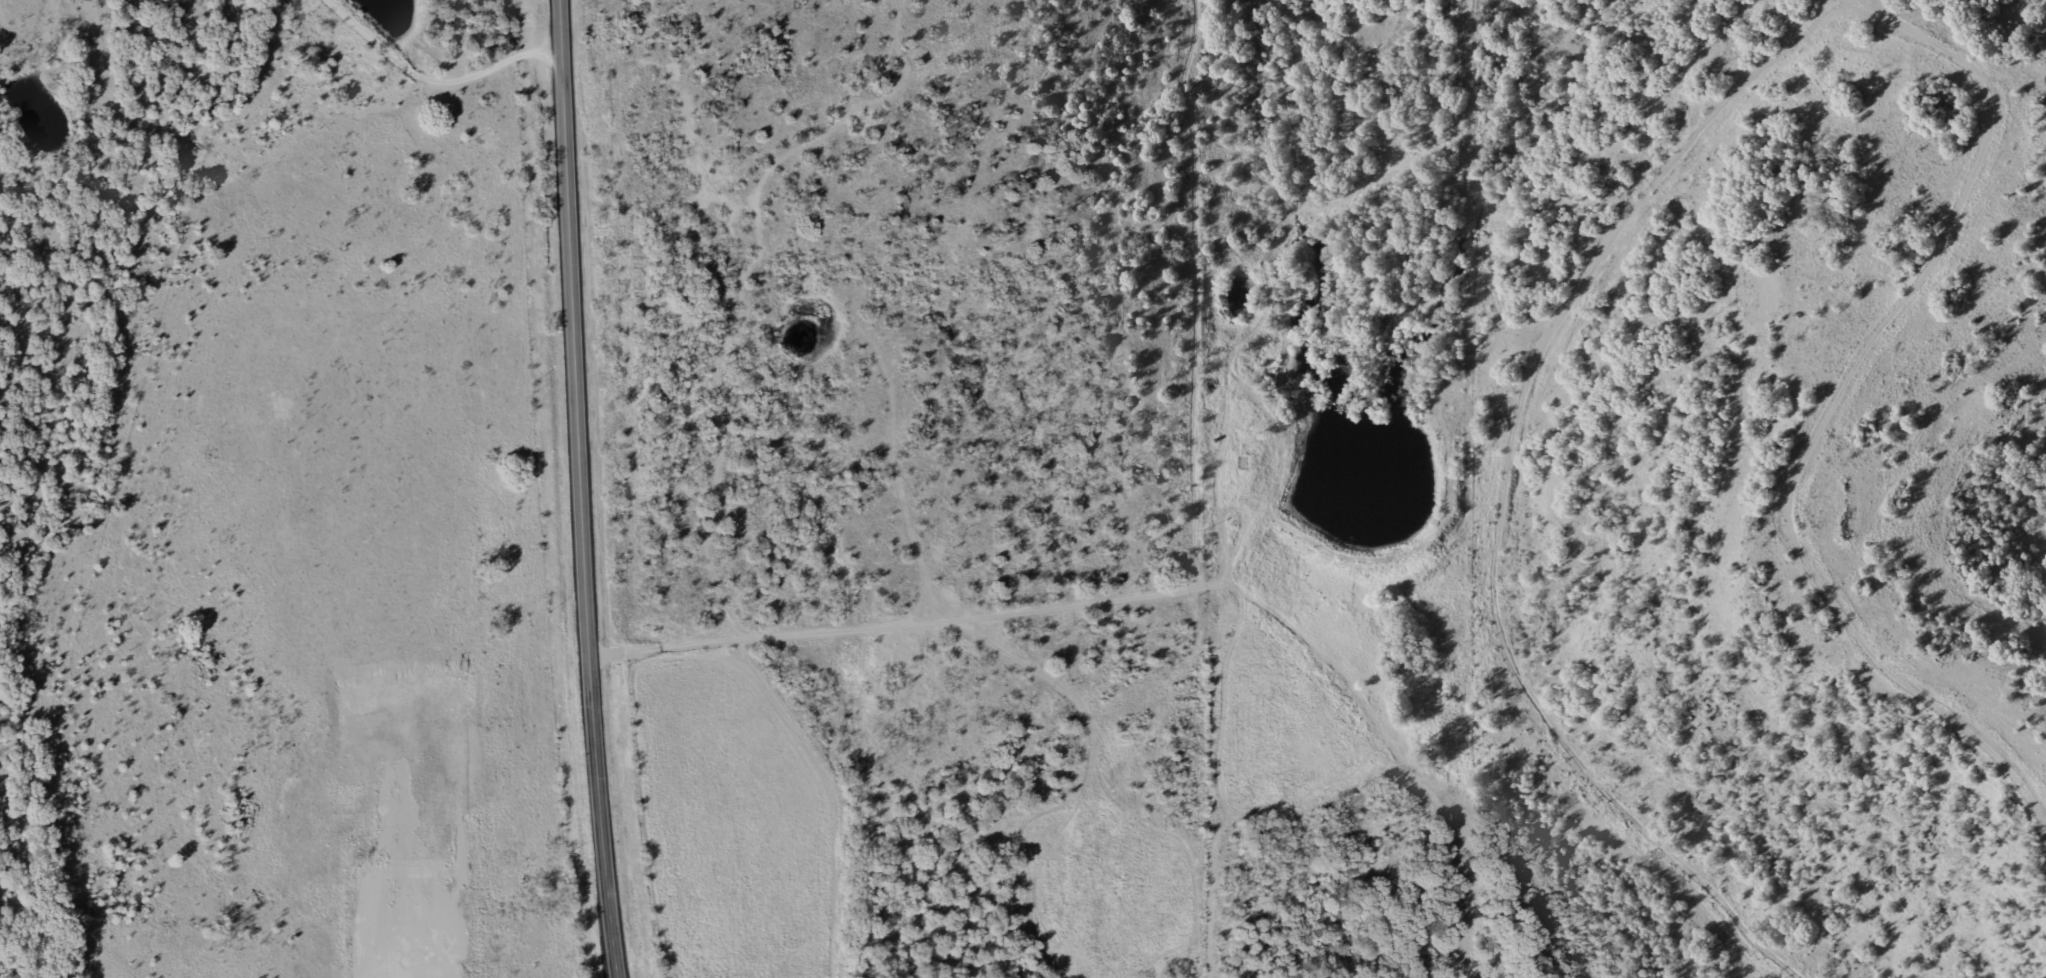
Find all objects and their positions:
road: (432, 80)
road: (1252, 454)
building: (1227, 461)
road: (579, 489)

